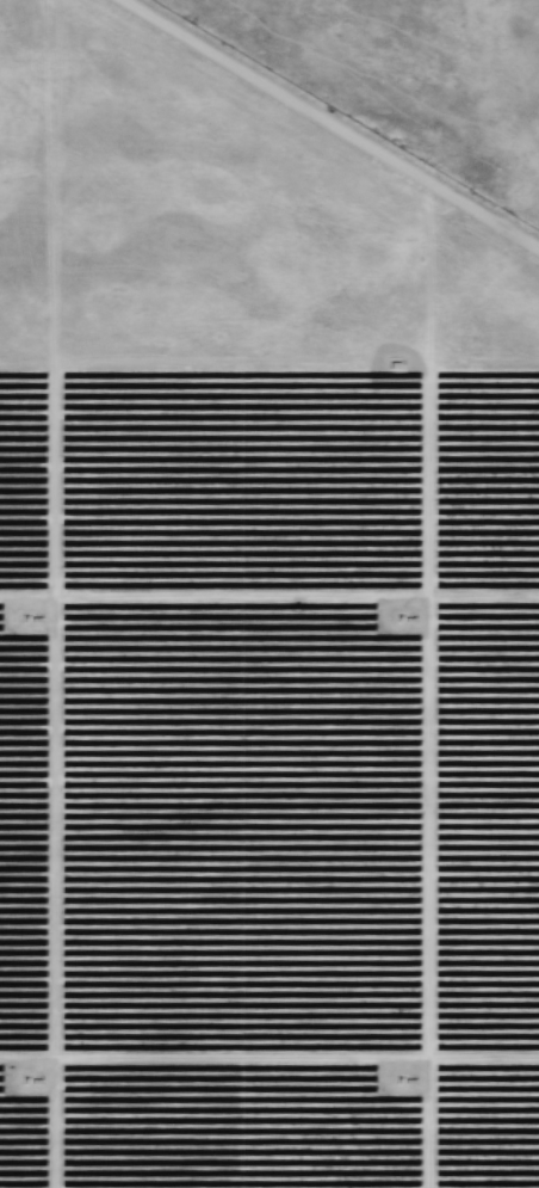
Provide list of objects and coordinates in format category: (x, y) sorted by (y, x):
solar farm: (269, 593)

